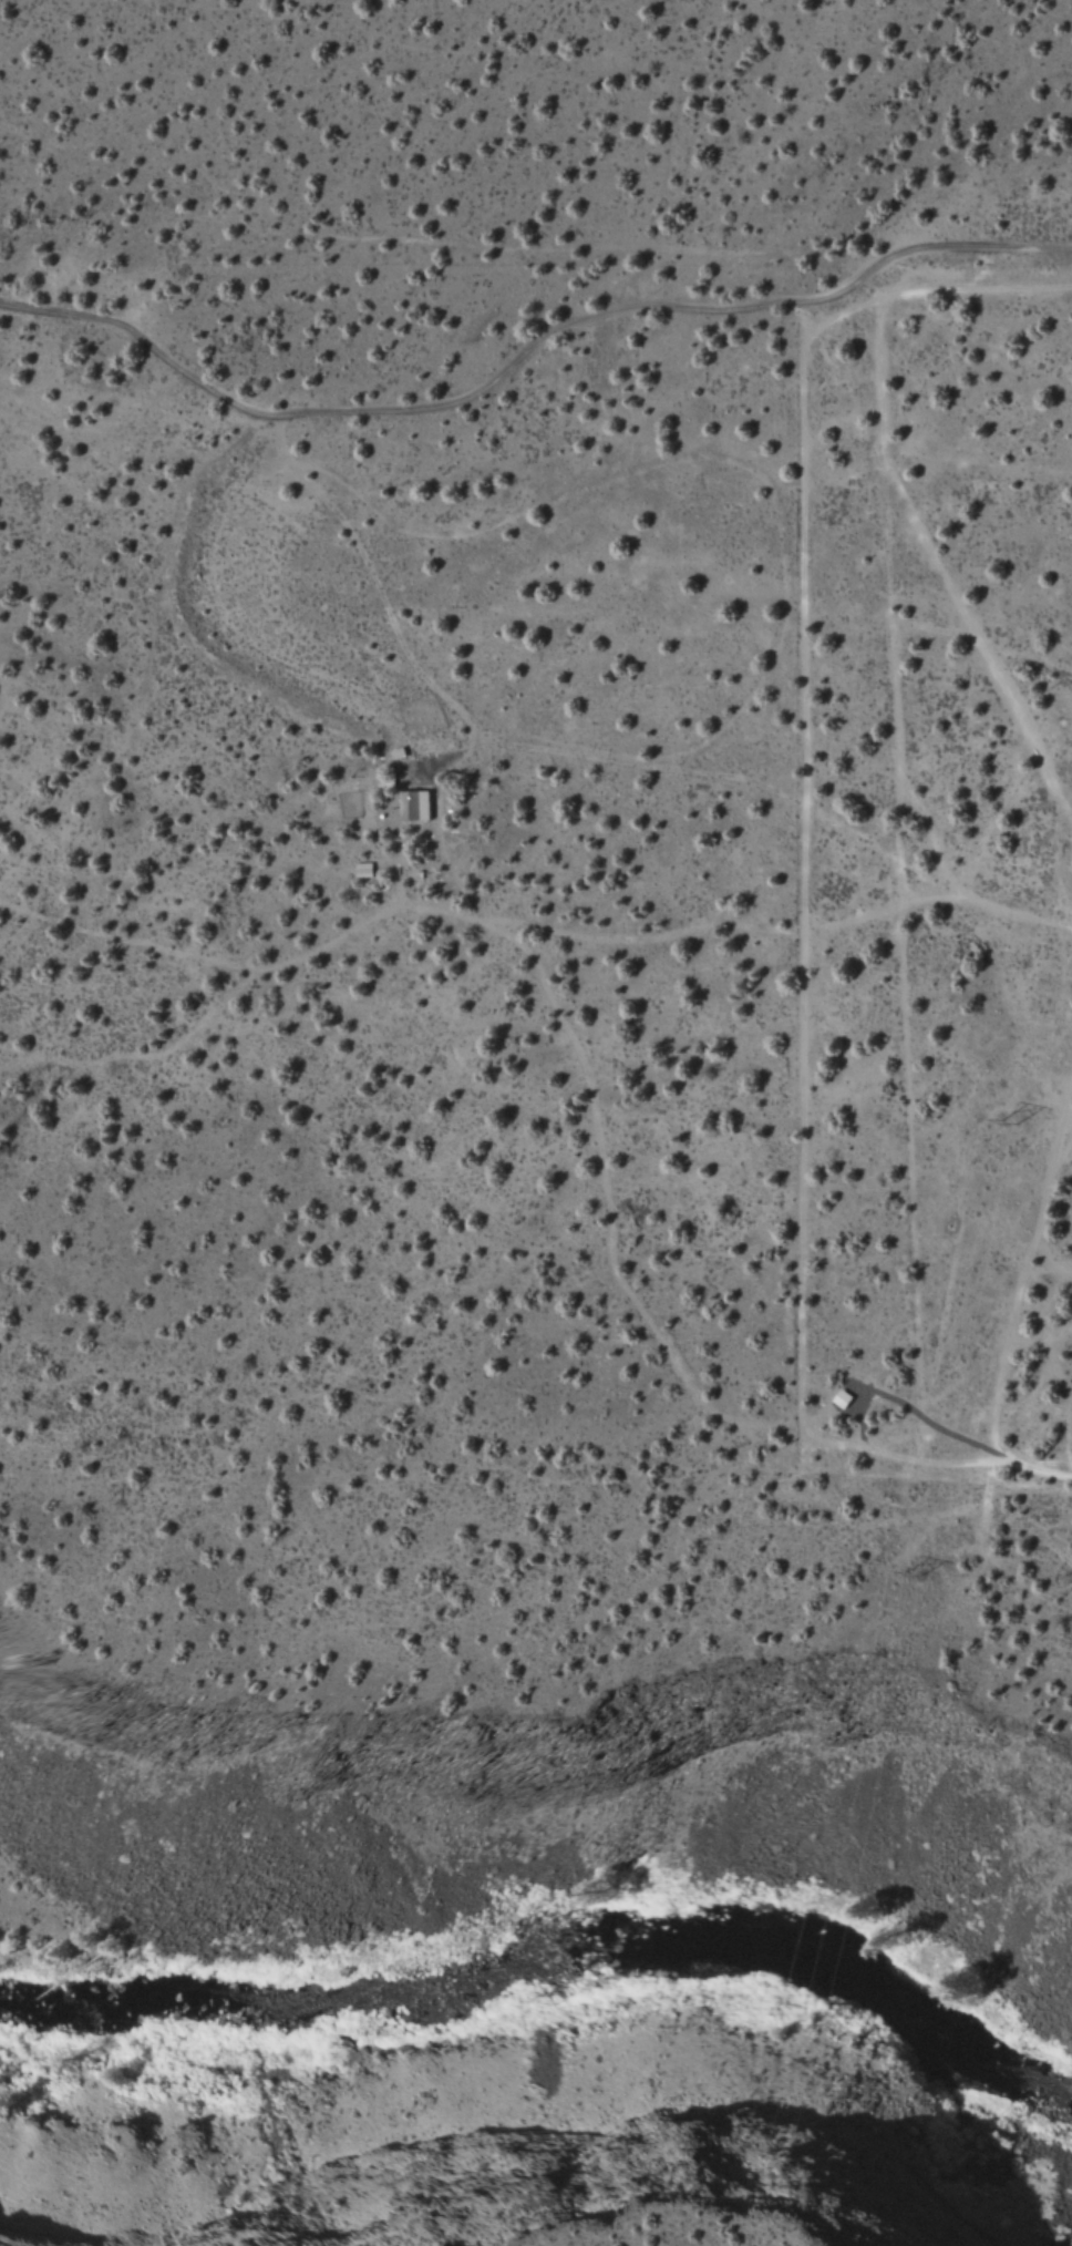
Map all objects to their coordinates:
road: (524, 350)
road: (907, 695)
road: (453, 739)
building: (418, 807)
building: (364, 869)
power tower: (1009, 1122)
power tower: (914, 1572)
river: (556, 1949)

